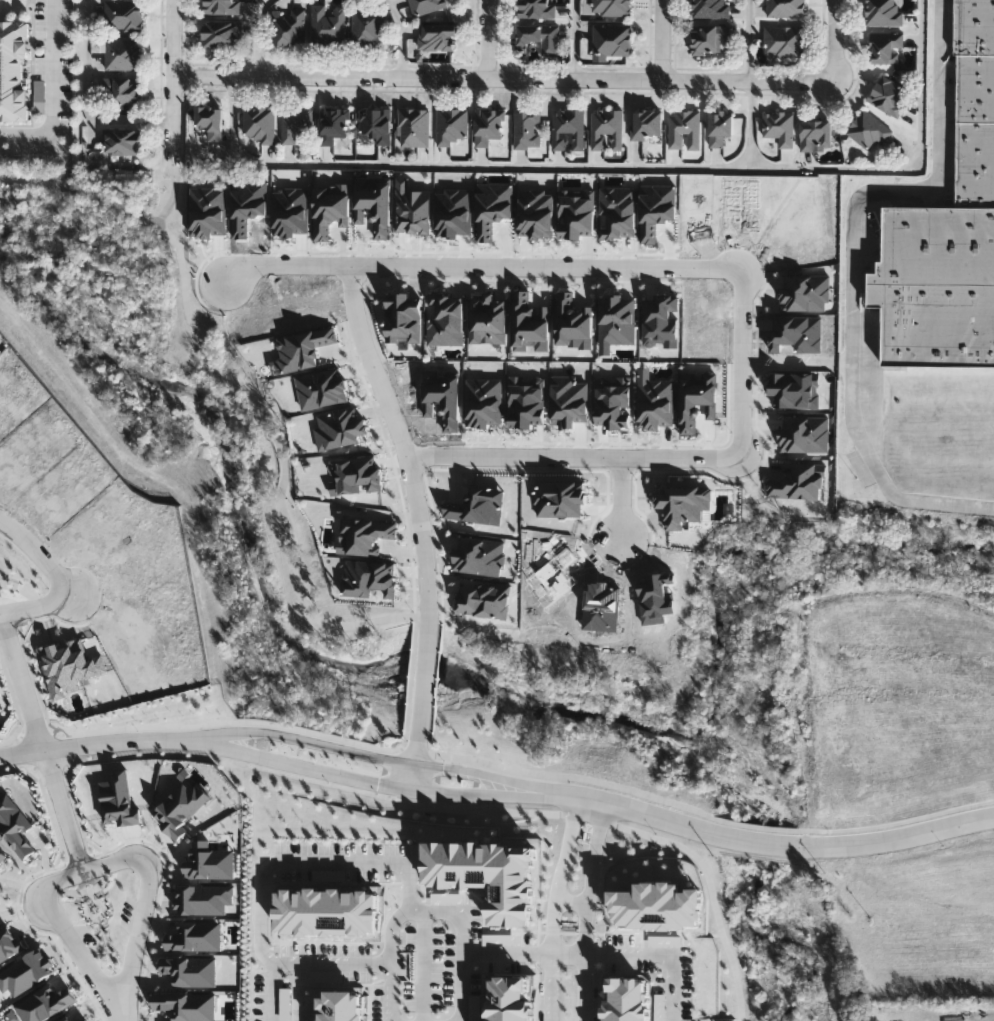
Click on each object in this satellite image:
building: (223, 6)
building: (425, 6)
building: (611, 7)
building: (712, 8)
building: (786, 8)
building: (536, 9)
building: (885, 12)
building: (124, 15)
building: (329, 25)
building: (290, 27)
building: (368, 27)
building: (974, 27)
road: (403, 33)
building: (222, 34)
road: (259, 34)
building: (437, 36)
road: (486, 36)
building: (540, 37)
road: (574, 37)
road: (662, 38)
building: (710, 38)
road: (746, 38)
building: (612, 39)
road: (834, 40)
building: (785, 41)
building: (887, 47)
building: (124, 54)
road: (499, 73)
road: (171, 86)
road: (54, 88)
building: (974, 88)
building: (124, 89)
building: (889, 95)
road: (85, 100)
building: (213, 121)
building: (296, 122)
building: (261, 123)
building: (377, 123)
road: (750, 123)
building: (333, 124)
building: (648, 124)
building: (452, 125)
building: (488, 126)
building: (414, 127)
building: (721, 127)
building: (779, 127)
building: (607, 128)
building: (527, 129)
building: (568, 129)
building: (684, 129)
building: (870, 130)
building: (818, 134)
building: (125, 140)
building: (974, 164)
road: (620, 167)
road: (107, 198)
road: (857, 265)
road: (281, 266)
road: (548, 268)
building: (936, 286)
road: (802, 362)
road: (372, 363)
road: (743, 364)
road: (515, 457)
road: (280, 458)
road: (683, 458)
road: (623, 498)
road: (422, 538)
road: (58, 577)
road: (0, 615)
road: (426, 675)
road: (413, 680)
road: (23, 682)
road: (285, 736)
road: (403, 742)
road: (97, 745)
road: (419, 747)
road: (22, 752)
road: (282, 761)
road: (481, 776)
road: (415, 778)
road: (478, 795)
road: (64, 811)
road: (767, 843)
road: (364, 864)
road: (572, 902)
road: (554, 908)
road: (588, 910)
road: (143, 911)
road: (67, 937)
road: (568, 953)
road: (659, 955)
road: (387, 962)
road: (329, 963)
road: (465, 986)

